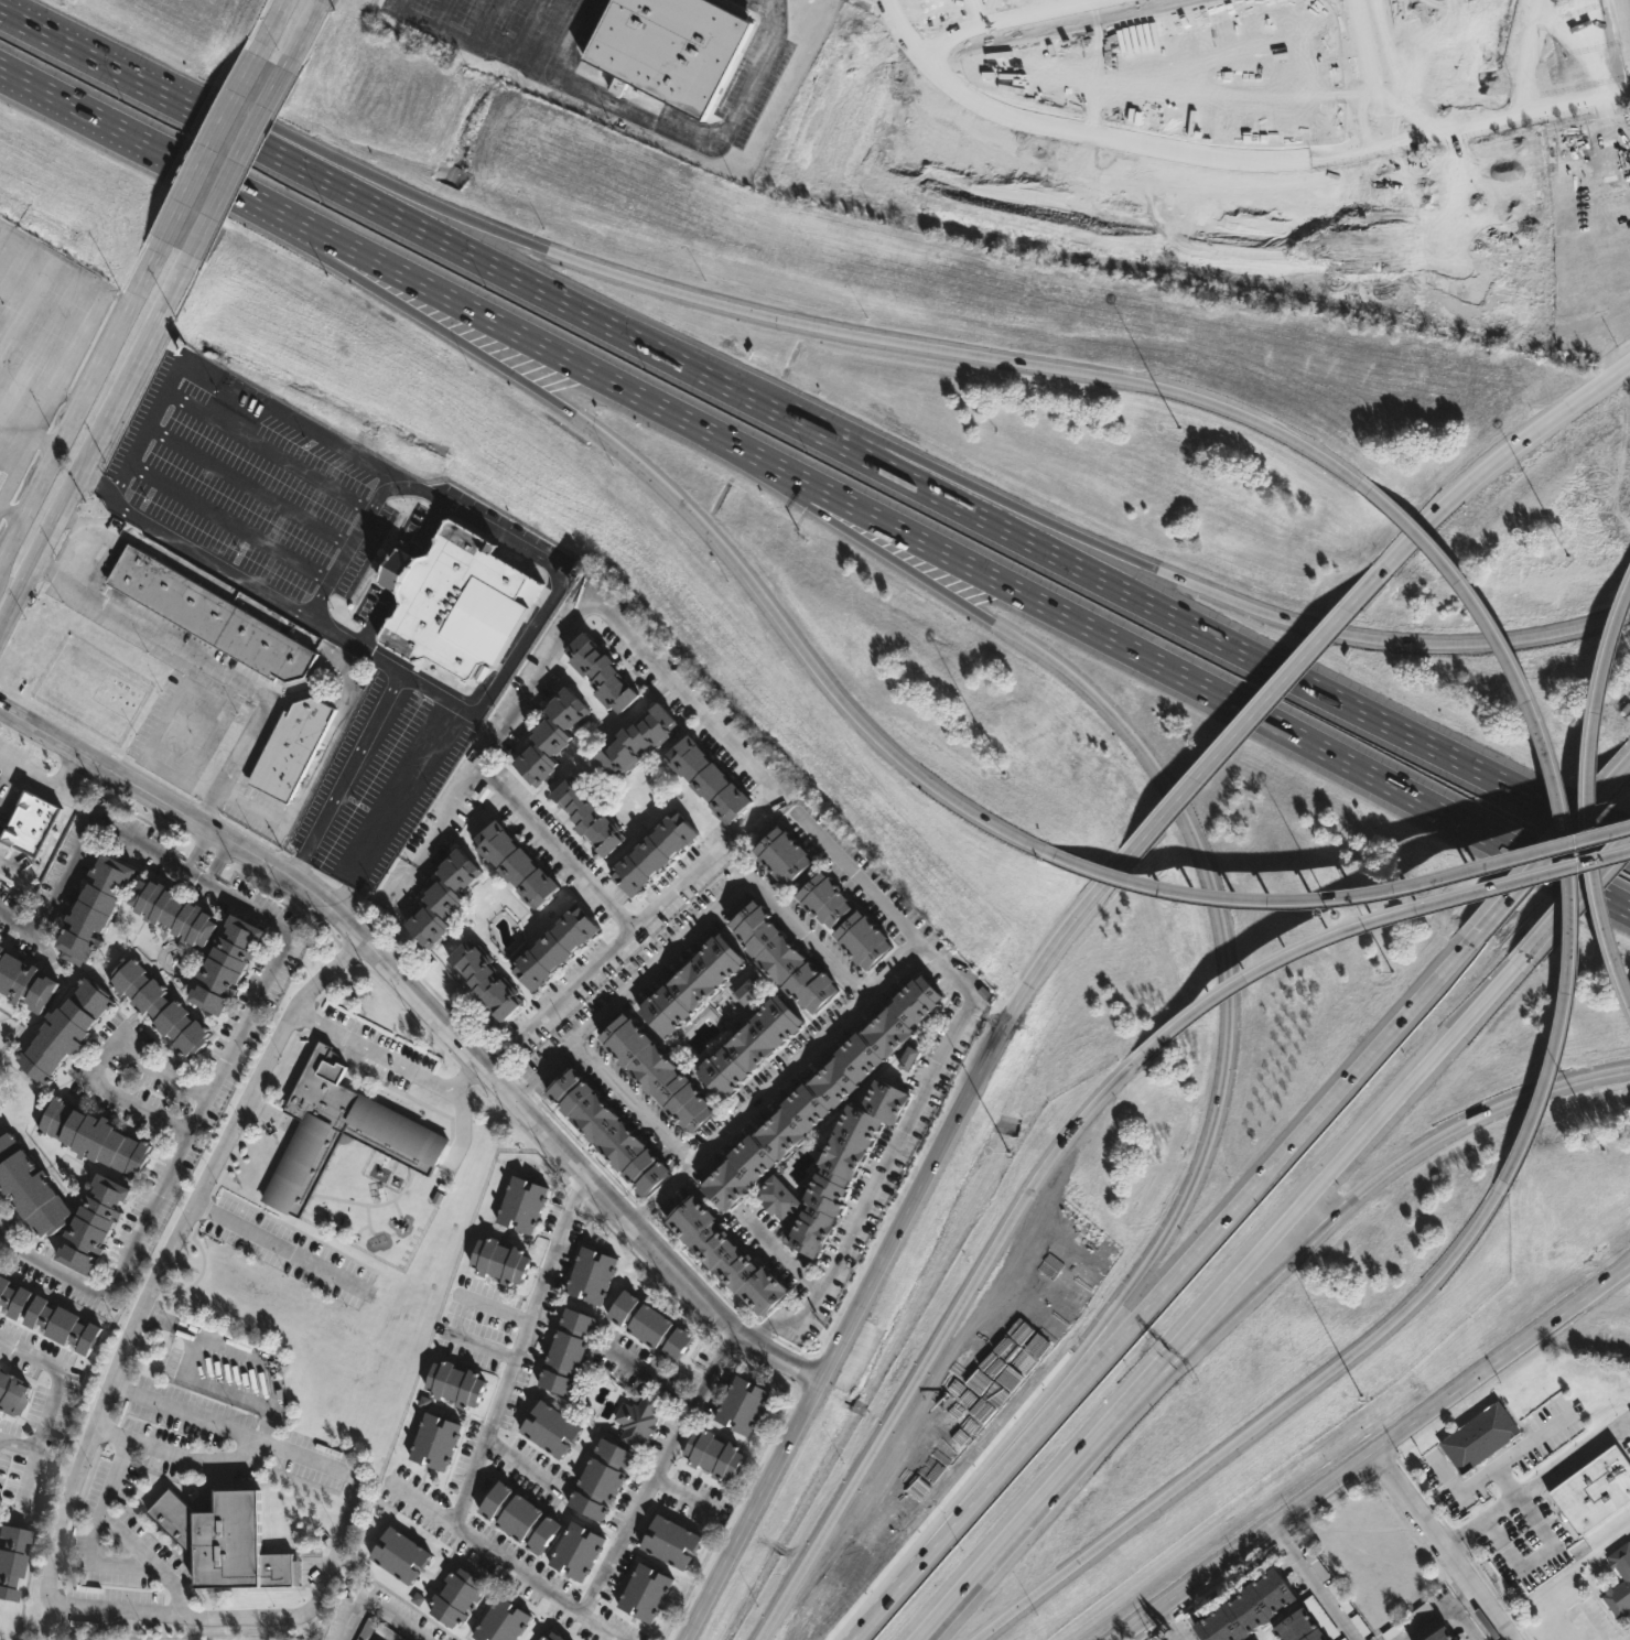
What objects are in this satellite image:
road: (881, 1)
road: (770, 6)
road: (997, 18)
road: (276, 23)
road: (531, 24)
road: (305, 30)
road: (456, 31)
building: (666, 47)
parking lot: (1492, 48)
road: (1373, 74)
road: (188, 86)
road: (82, 112)
road: (682, 134)
road: (215, 142)
road: (240, 155)
road: (1229, 166)
road: (337, 185)
road: (289, 234)
road: (415, 282)
road: (872, 336)
road: (86, 342)
road: (83, 403)
road: (827, 420)
road: (290, 423)
road: (144, 429)
road: (48, 442)
road: (96, 443)
road: (267, 451)
road: (1492, 470)
road: (777, 485)
road: (247, 487)
road: (11, 514)
road: (227, 524)
road: (424, 527)
road: (493, 528)
road: (94, 540)
road: (399, 570)
road: (743, 574)
building: (452, 598)
road: (1152, 605)
building: (206, 614)
road: (375, 615)
road: (1289, 621)
road: (341, 633)
road: (1148, 657)
road: (218, 668)
building: (598, 672)
road: (688, 699)
road: (427, 709)
road: (173, 711)
road: (1262, 725)
road: (206, 730)
building: (549, 734)
building: (637, 740)
building: (287, 745)
building: (0, 770)
road: (161, 772)
road: (478, 773)
building: (703, 777)
road: (8, 786)
road: (46, 788)
road: (1579, 799)
road: (252, 808)
road: (1552, 811)
building: (585, 816)
road: (395, 819)
building: (32, 824)
road: (1555, 844)
road: (197, 850)
road: (558, 850)
building: (650, 852)
building: (784, 854)
road: (172, 859)
road: (217, 860)
building: (510, 863)
road: (1577, 893)
building: (438, 897)
road: (1340, 899)
building: (96, 911)
building: (176, 914)
building: (846, 921)
road: (1371, 922)
road: (632, 931)
road: (691, 932)
building: (549, 949)
building: (781, 957)
road: (1227, 963)
building: (229, 967)
building: (479, 980)
building: (26, 983)
building: (691, 984)
building: (749, 989)
building: (162, 1007)
road: (433, 1018)
building: (67, 1033)
building: (749, 1046)
road: (382, 1057)
road: (101, 1058)
building: (908, 1058)
building: (655, 1071)
road: (933, 1076)
road: (776, 1083)
building: (822, 1094)
road: (637, 1101)
road: (457, 1120)
building: (333, 1130)
building: (603, 1132)
building: (96, 1139)
road: (1415, 1152)
road: (1340, 1159)
building: (844, 1164)
building: (30, 1179)
building: (779, 1197)
building: (520, 1205)
road: (144, 1221)
building: (85, 1223)
road: (1212, 1230)
road: (899, 1236)
road: (276, 1248)
road: (779, 1253)
building: (724, 1254)
building: (497, 1261)
building: (589, 1276)
building: (13, 1298)
road: (496, 1306)
building: (63, 1325)
building: (647, 1326)
road: (1200, 1336)
road: (938, 1338)
road: (483, 1345)
building: (563, 1352)
road: (521, 1353)
road: (652, 1378)
building: (452, 1385)
road: (57, 1393)
building: (14, 1394)
building: (741, 1406)
building: (637, 1420)
road: (1254, 1425)
building: (547, 1429)
building: (1480, 1438)
building: (432, 1443)
road: (1529, 1446)
building: (711, 1455)
road: (1377, 1456)
road: (179, 1458)
road: (1494, 1468)
road: (523, 1471)
road: (657, 1471)
building: (600, 1481)
road: (1535, 1486)
road: (972, 1487)
road: (683, 1491)
building: (1595, 1491)
road: (1038, 1503)
building: (516, 1518)
road: (120, 1532)
road: (1283, 1539)
building: (223, 1542)
building: (669, 1542)
road: (1440, 1549)
road: (488, 1552)
building: (573, 1552)
building: (397, 1554)
road: (1534, 1557)
building: (15, 1560)
road: (47, 1568)
building: (1624, 1574)
road: (896, 1585)
building: (643, 1590)
road: (1323, 1594)
building: (454, 1596)
road: (1467, 1598)
road: (1455, 1606)
building: (1245, 1607)
road: (386, 1608)
building: (499, 1621)
road: (1466, 1622)
road: (1427, 1625)
building: (1298, 1627)
road: (600, 1628)
road: (1169, 1628)
road: (1588, 1631)
building: (1440, 1633)
building: (550, 1636)
building: (374, 1639)

